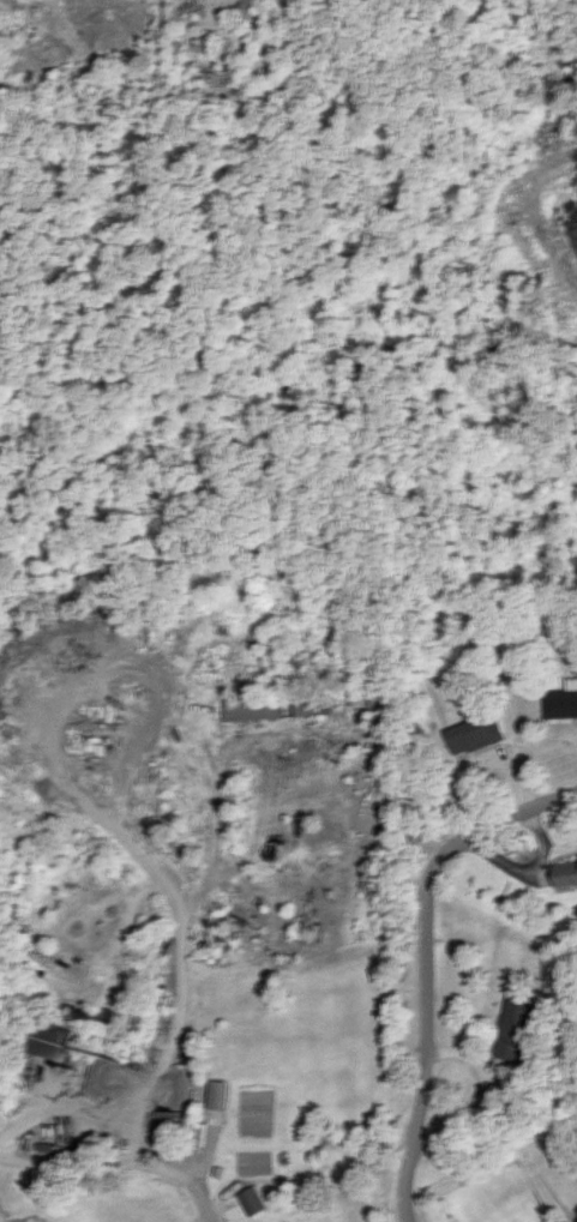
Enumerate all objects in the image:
building: (560, 700)
building: (250, 708)
building: (470, 734)
building: (561, 871)
road: (431, 964)
building: (511, 1025)
building: (47, 1041)
road: (160, 1077)
building: (215, 1094)
road: (203, 1191)
building: (248, 1199)
building: (576, 1210)
building: (576, 1221)

